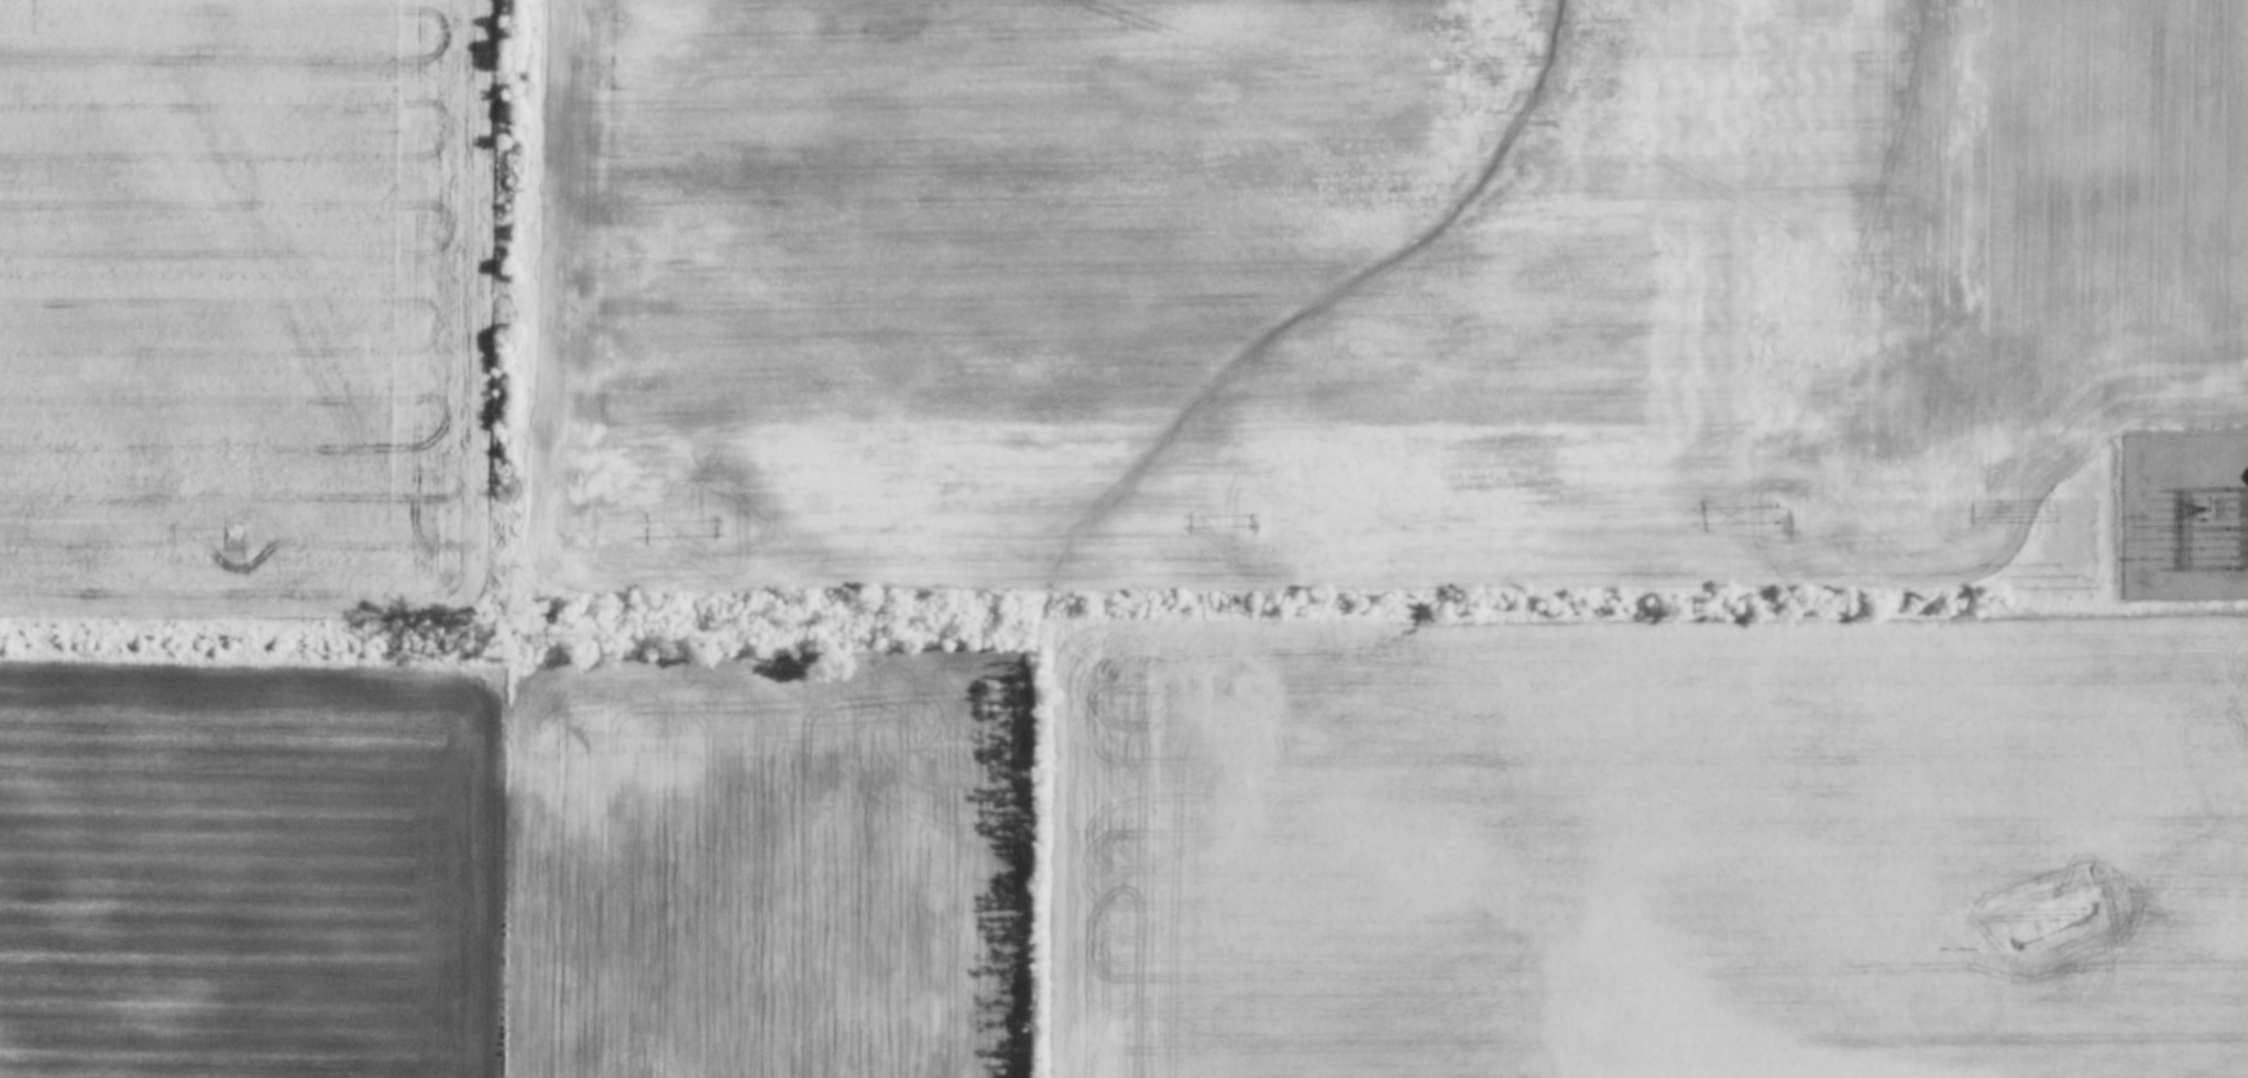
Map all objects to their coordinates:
power tower: (2047, 510)
power tower: (1780, 514)
power substation: (2185, 514)
power tower: (1251, 521)
power tower: (720, 529)
power tower: (233, 535)
power tower: (2073, 573)
power tower: (2073, 909)

